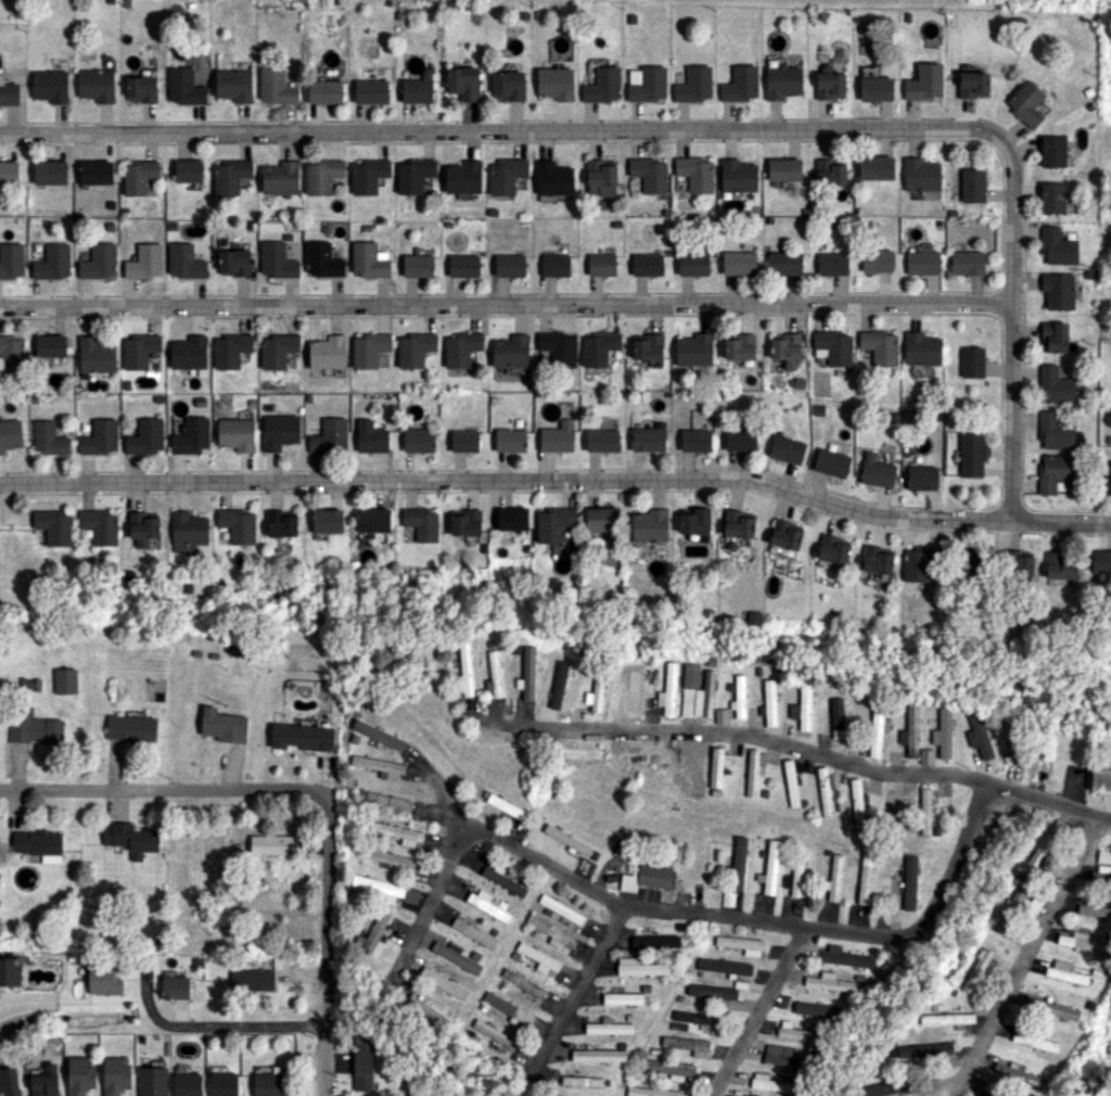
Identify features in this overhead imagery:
building: (782, 79)
building: (463, 82)
building: (554, 82)
building: (924, 82)
building: (647, 84)
building: (972, 84)
building: (95, 85)
building: (233, 85)
building: (508, 85)
building: (602, 85)
building: (694, 85)
building: (740, 85)
building: (829, 85)
building: (50, 86)
building: (276, 86)
building: (184, 87)
building: (141, 88)
building: (418, 88)
building: (876, 88)
building: (324, 91)
building: (371, 91)
building: (8, 92)
building: (1025, 103)
road: (693, 127)
building: (1052, 151)
building: (874, 167)
building: (783, 169)
building: (188, 170)
building: (9, 171)
building: (95, 171)
building: (829, 171)
building: (50, 173)
building: (649, 174)
building: (695, 174)
building: (920, 174)
building: (368, 175)
building: (414, 175)
building: (738, 175)
building: (139, 176)
building: (230, 176)
building: (322, 176)
building: (506, 176)
building: (463, 177)
building: (600, 177)
building: (280, 178)
building: (553, 178)
building: (973, 184)
building: (1052, 197)
building: (494, 212)
building: (448, 224)
building: (1057, 247)
building: (322, 259)
building: (369, 259)
building: (876, 259)
building: (11, 260)
building: (277, 260)
building: (145, 262)
building: (184, 262)
building: (233, 262)
building: (53, 263)
building: (739, 263)
building: (786, 263)
building: (923, 263)
building: (967, 263)
building: (693, 264)
building: (832, 264)
building: (464, 265)
building: (510, 265)
building: (557, 265)
building: (602, 265)
building: (648, 265)
building: (417, 266)
building: (1057, 290)
road: (506, 306)
building: (1053, 336)
building: (50, 345)
building: (880, 346)
building: (648, 347)
building: (740, 347)
building: (833, 347)
building: (414, 348)
building: (461, 348)
building: (557, 348)
building: (598, 348)
building: (921, 348)
building: (230, 349)
building: (277, 349)
building: (370, 349)
building: (693, 349)
building: (787, 349)
building: (139, 351)
building: (327, 352)
building: (510, 352)
building: (12, 353)
building: (189, 353)
building: (95, 355)
building: (971, 361)
building: (1055, 385)
building: (818, 409)
building: (279, 431)
building: (1055, 431)
building: (10, 434)
building: (235, 434)
building: (330, 435)
building: (145, 436)
building: (191, 436)
building: (100, 437)
building: (371, 437)
building: (49, 438)
building: (648, 438)
building: (739, 438)
building: (418, 439)
building: (510, 439)
building: (557, 439)
building: (602, 439)
building: (695, 439)
building: (464, 441)
building: (787, 449)
building: (971, 453)
building: (831, 462)
building: (877, 471)
building: (1053, 471)
building: (922, 477)
road: (558, 480)
building: (1106, 483)
building: (512, 518)
building: (602, 519)
building: (327, 520)
building: (373, 520)
building: (694, 522)
building: (421, 523)
building: (465, 523)
building: (553, 523)
building: (738, 523)
building: (280, 524)
building: (238, 525)
building: (649, 525)
building: (54, 526)
building: (101, 526)
building: (144, 530)
building: (188, 530)
building: (786, 534)
building: (833, 549)
building: (877, 559)
building: (1100, 561)
building: (1020, 563)
building: (916, 564)
building: (969, 564)
building: (1059, 565)
building: (464, 668)
building: (494, 674)
building: (527, 674)
building: (65, 680)
building: (635, 690)
building: (668, 690)
building: (697, 692)
building: (563, 694)
building: (595, 694)
building: (738, 696)
building: (769, 702)
building: (804, 703)
building: (720, 715)
building: (840, 723)
building: (222, 725)
building: (33, 727)
building: (131, 728)
building: (910, 730)
building: (877, 731)
building: (942, 732)
building: (978, 734)
building: (378, 735)
building: (303, 737)
building: (1012, 741)
road: (789, 744)
building: (580, 752)
building: (690, 754)
building: (925, 756)
building: (646, 757)
building: (378, 764)
building: (715, 767)
building: (753, 770)
building: (1100, 781)
building: (790, 782)
road: (316, 789)
building: (823, 791)
building: (385, 802)
building: (892, 802)
building: (856, 803)
building: (503, 805)
building: (925, 813)
road: (1106, 817)
building: (398, 832)
building: (130, 839)
building: (566, 839)
building: (39, 844)
building: (272, 844)
building: (1042, 849)
building: (390, 857)
building: (738, 863)
building: (1102, 866)
building: (770, 867)
building: (796, 872)
building: (865, 877)
building: (646, 878)
building: (833, 879)
building: (502, 881)
building: (909, 882)
building: (384, 889)
road: (601, 892)
building: (1021, 899)
road: (427, 901)
building: (487, 905)
building: (1094, 910)
road: (931, 912)
building: (375, 930)
building: (473, 932)
building: (552, 932)
building: (654, 941)
building: (1081, 942)
building: (742, 944)
building: (456, 956)
building: (536, 957)
building: (845, 957)
building: (724, 966)
road: (1021, 966)
building: (639, 967)
building: (976, 970)
building: (9, 972)
building: (1064, 972)
building: (103, 979)
building: (253, 980)
road: (582, 981)
building: (829, 982)
building: (175, 987)
building: (712, 991)
building: (622, 997)
building: (423, 1008)
building: (817, 1008)
building: (1051, 1008)
building: (510, 1010)
road: (757, 1011)
building: (695, 1017)
building: (947, 1018)
road: (243, 1024)
building: (608, 1027)
building: (795, 1032)
building: (494, 1033)
building: (1034, 1041)
building: (687, 1045)
building: (920, 1049)
building: (598, 1055)
building: (783, 1056)
building: (362, 1061)
building: (673, 1069)
building: (79, 1075)
building: (115, 1076)
building: (1019, 1076)
building: (9, 1081)
building: (152, 1081)
building: (267, 1081)
building: (582, 1081)
building: (44, 1082)
building: (771, 1083)
building: (187, 1084)
building: (222, 1084)
building: (877, 1089)
building: (652, 1092)
building: (418, 1093)
building: (752, 1095)

